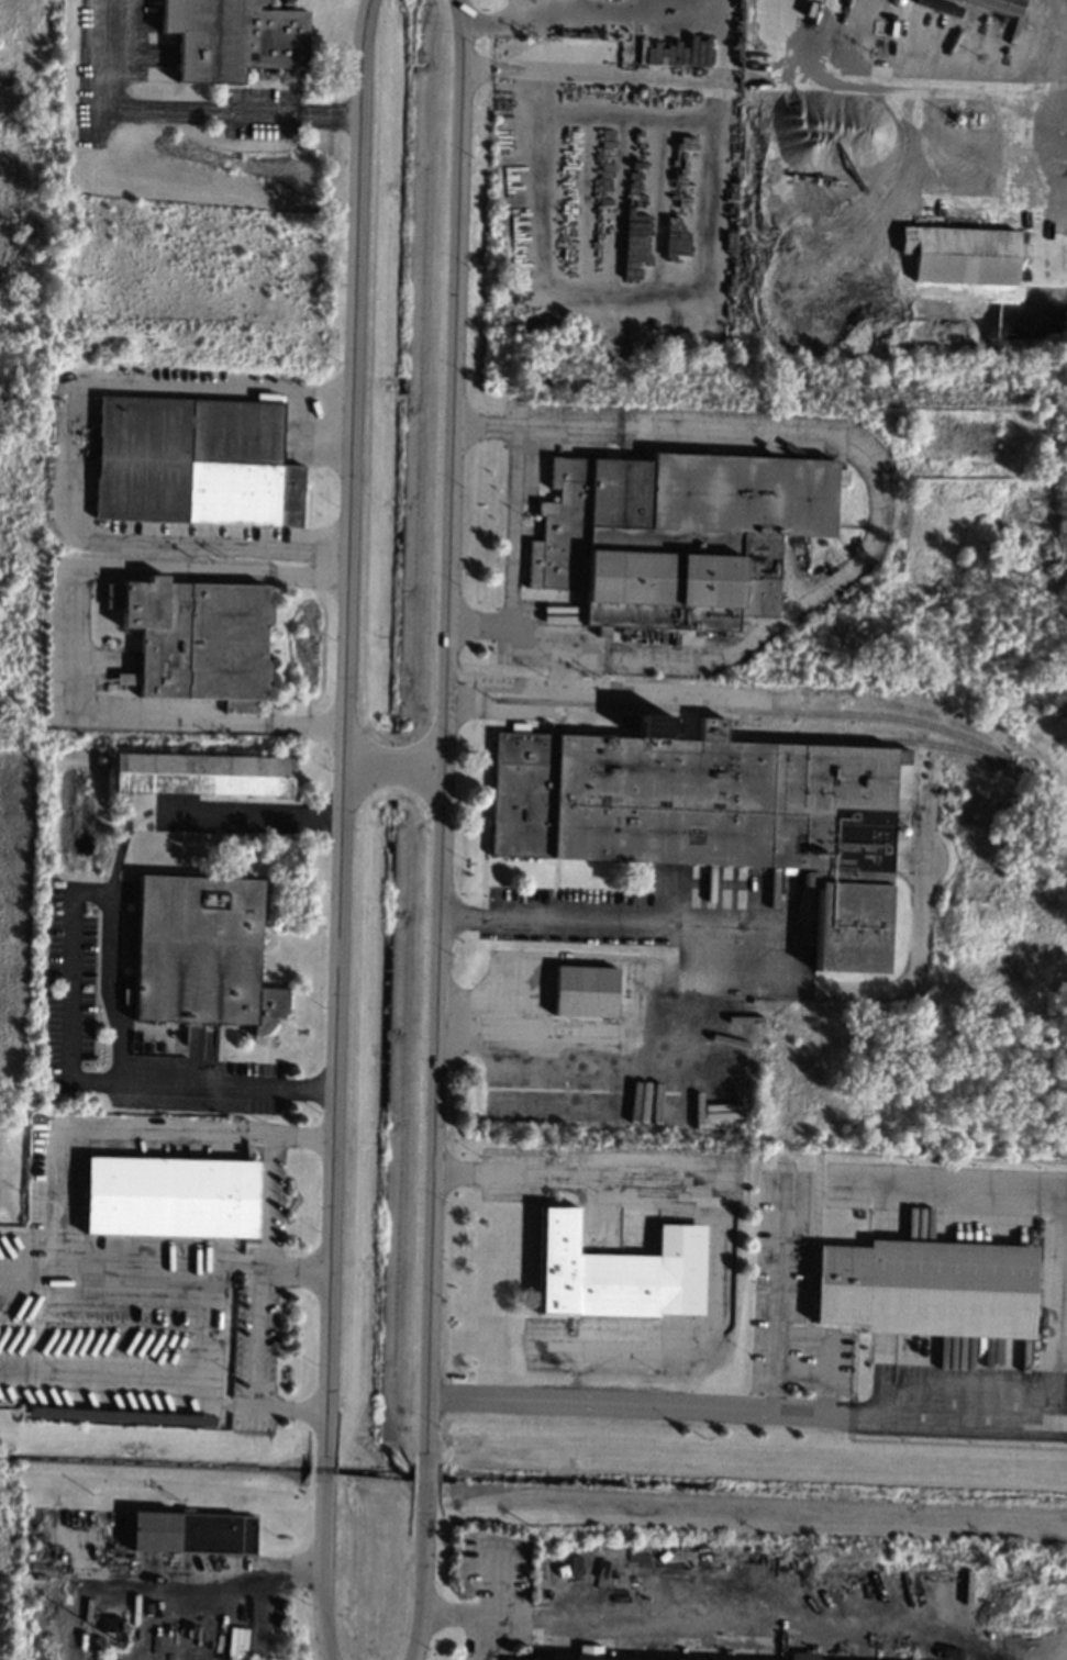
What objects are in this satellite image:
building: (991, 4)
road: (588, 7)
building: (232, 37)
road: (796, 41)
road: (927, 87)
road: (188, 104)
building: (960, 254)
road: (355, 364)
road: (74, 458)
building: (193, 460)
road: (518, 515)
building: (675, 535)
building: (196, 637)
road: (64, 642)
building: (126, 679)
road: (447, 732)
road: (349, 749)
road: (398, 769)
building: (203, 773)
building: (711, 813)
road: (113, 944)
building: (201, 951)
road: (771, 952)
crop: (13, 966)
building: (583, 991)
road: (69, 995)
road: (336, 1116)
road: (103, 1125)
road: (558, 1177)
building: (169, 1196)
road: (193, 1262)
building: (616, 1272)
building: (926, 1288)
road: (777, 1291)
road: (827, 1348)
road: (166, 1377)
road: (724, 1412)
road: (325, 1472)
road: (429, 1475)
building: (192, 1533)
road: (322, 1570)
road: (426, 1574)
road: (245, 1584)
road: (476, 1614)
road: (742, 1620)
building: (109, 1624)
building: (588, 1652)
building: (801, 1656)
building: (509, 1659)

